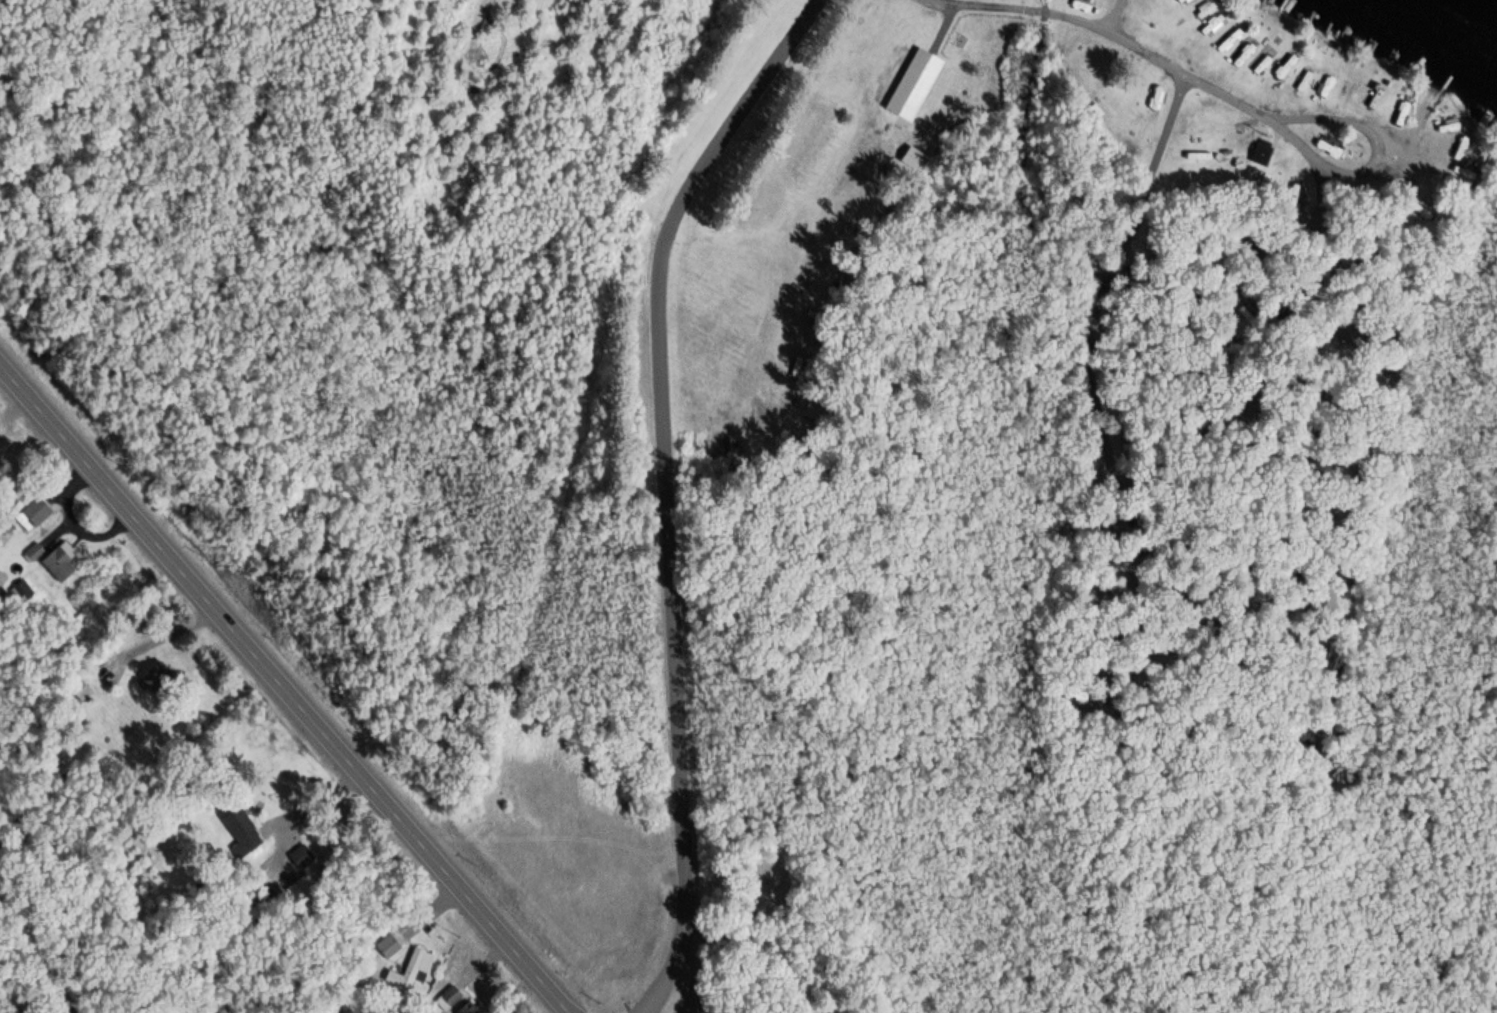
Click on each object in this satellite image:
building: (1213, 20)
road: (1115, 35)
building: (1231, 36)
building: (1242, 53)
building: (1260, 62)
building: (1284, 66)
building: (1303, 80)
building: (912, 83)
building: (1326, 85)
building: (1348, 94)
building: (1372, 100)
building: (1387, 106)
building: (1259, 153)
road: (1381, 158)
building: (1427, 223)
road: (1206, 361)
road: (665, 489)
road: (1188, 596)
road: (285, 688)

